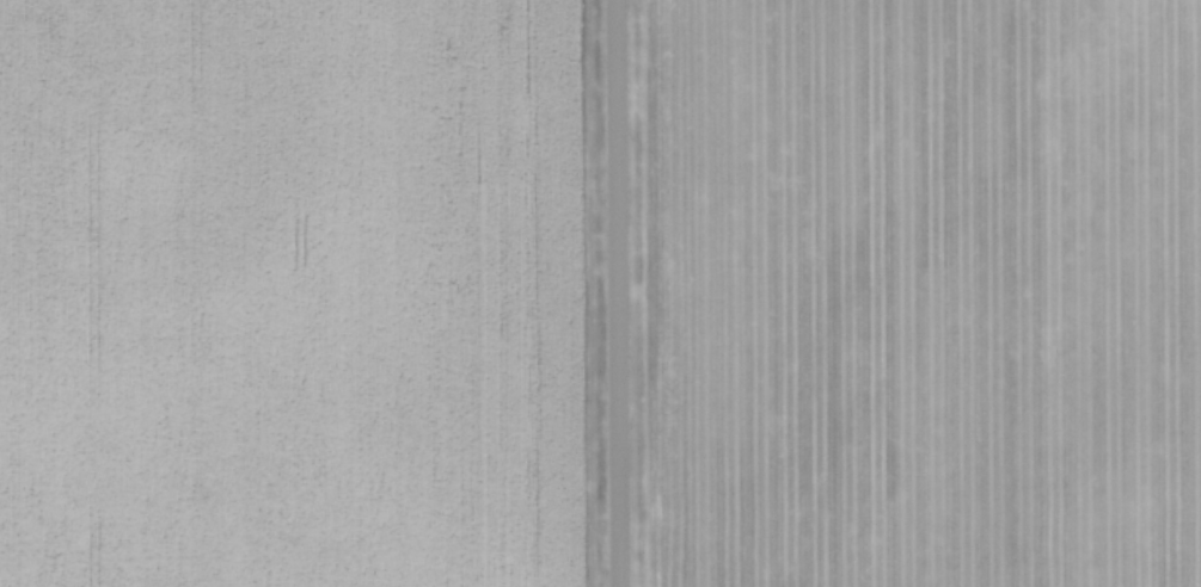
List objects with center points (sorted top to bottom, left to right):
road: (618, 293)

